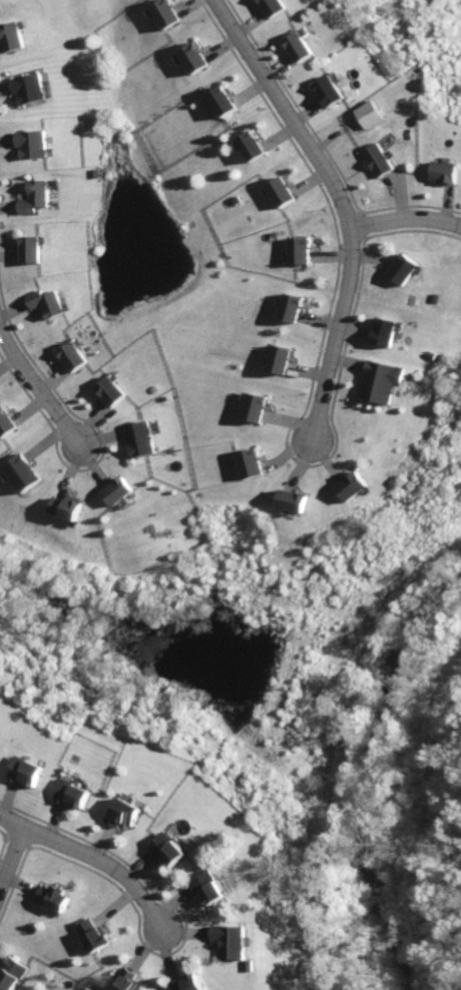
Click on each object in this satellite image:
building: (277, 8)
building: (167, 15)
building: (11, 38)
building: (302, 48)
building: (195, 61)
building: (28, 88)
building: (331, 95)
building: (221, 105)
building: (372, 114)
building: (30, 145)
building: (251, 148)
building: (379, 161)
building: (445, 173)
building: (280, 194)
building: (35, 198)
road: (341, 204)
road: (404, 219)
building: (30, 250)
building: (297, 252)
building: (400, 267)
building: (45, 301)
building: (287, 308)
building: (383, 333)
building: (74, 358)
building: (275, 359)
building: (378, 382)
road: (39, 391)
building: (114, 394)
building: (252, 408)
building: (5, 424)
building: (143, 440)
building: (249, 464)
building: (21, 474)
building: (349, 485)
building: (117, 491)
building: (288, 502)
building: (62, 509)
building: (0, 741)
building: (1, 745)
building: (30, 773)
building: (75, 797)
building: (127, 815)
road: (13, 850)
building: (171, 853)
road: (91, 855)
building: (210, 893)
building: (52, 899)
building: (91, 936)
building: (232, 943)
building: (10, 975)
building: (126, 980)
building: (189, 983)

